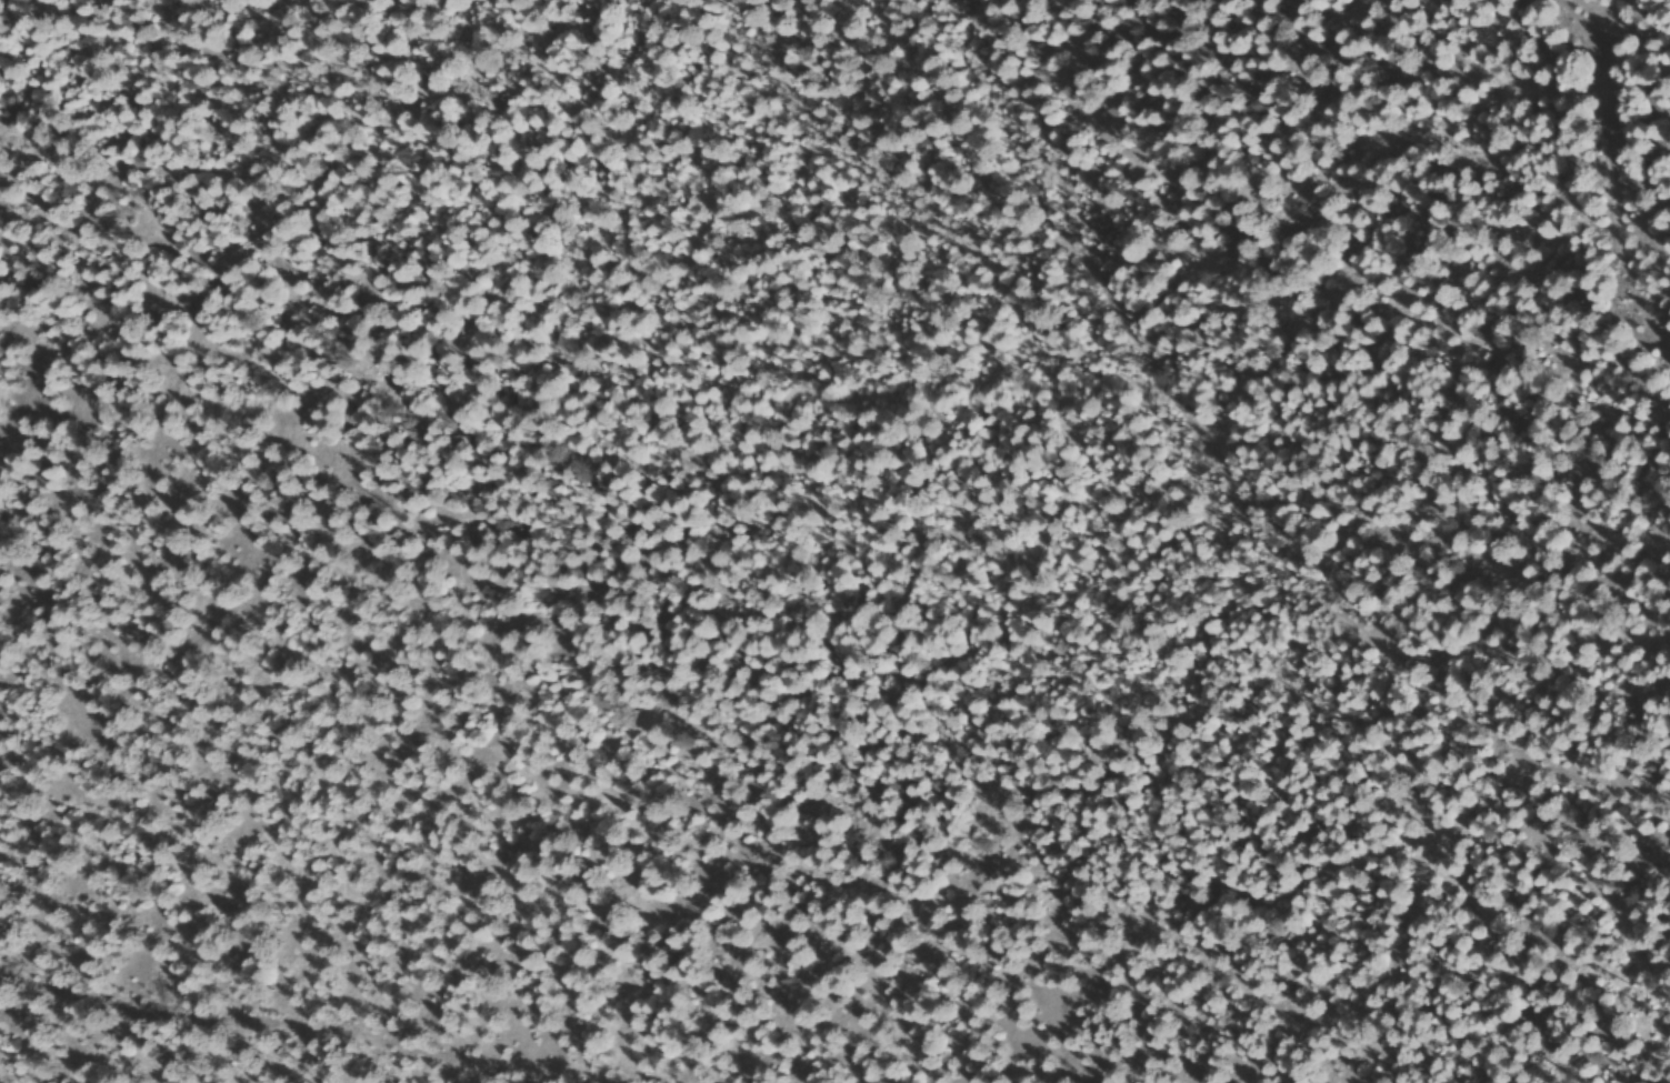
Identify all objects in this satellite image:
road: (987, 136)
road: (1517, 251)
road: (1141, 447)
road: (190, 1034)

